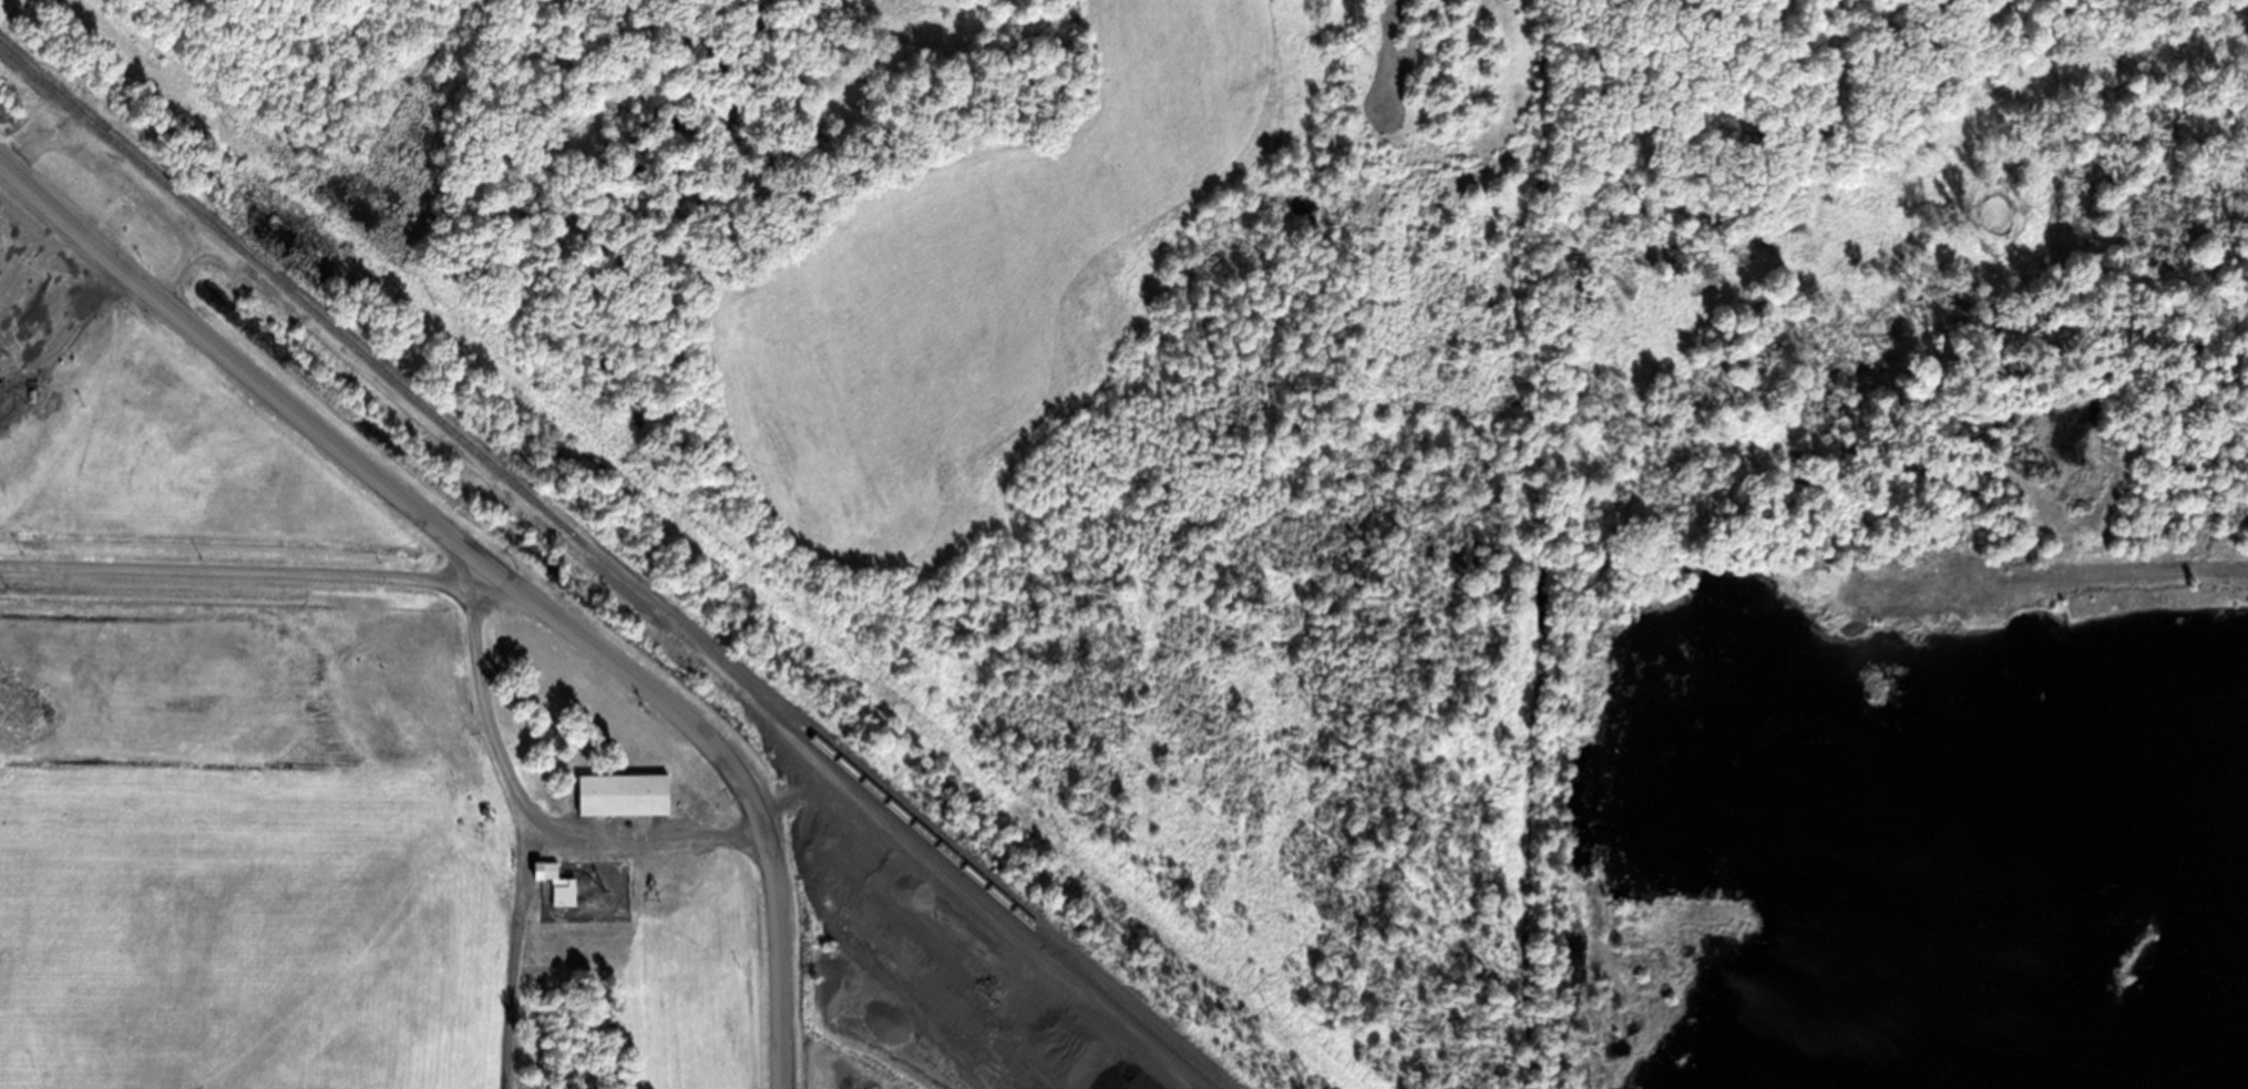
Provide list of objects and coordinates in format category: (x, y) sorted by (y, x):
building: (114, 195)
landfill: (985, 495)
road: (484, 562)
railway: (614, 567)
road: (255, 568)
building: (623, 792)
building: (550, 867)

